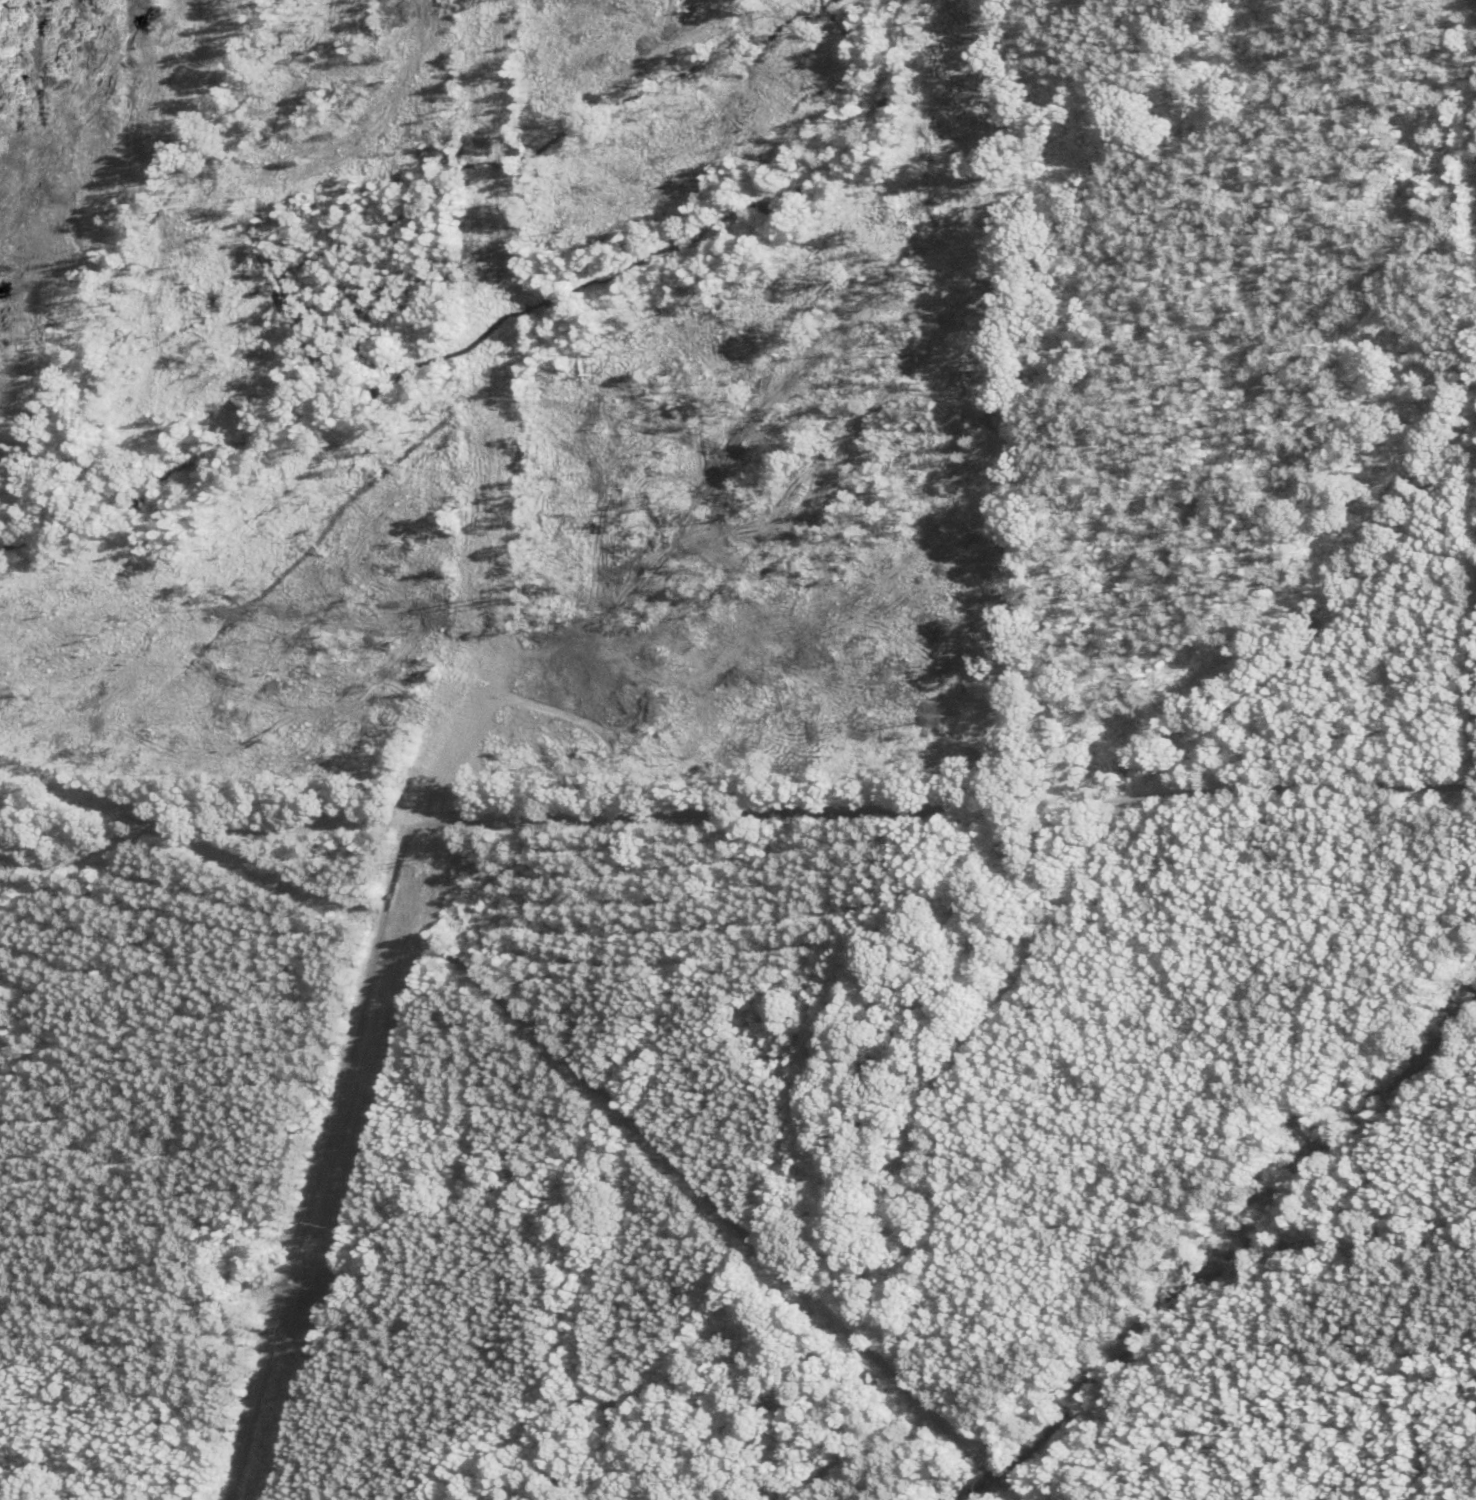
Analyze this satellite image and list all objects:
power tower: (492, 202)
power tower: (495, 599)
power tower: (422, 856)
power tower: (324, 1221)

